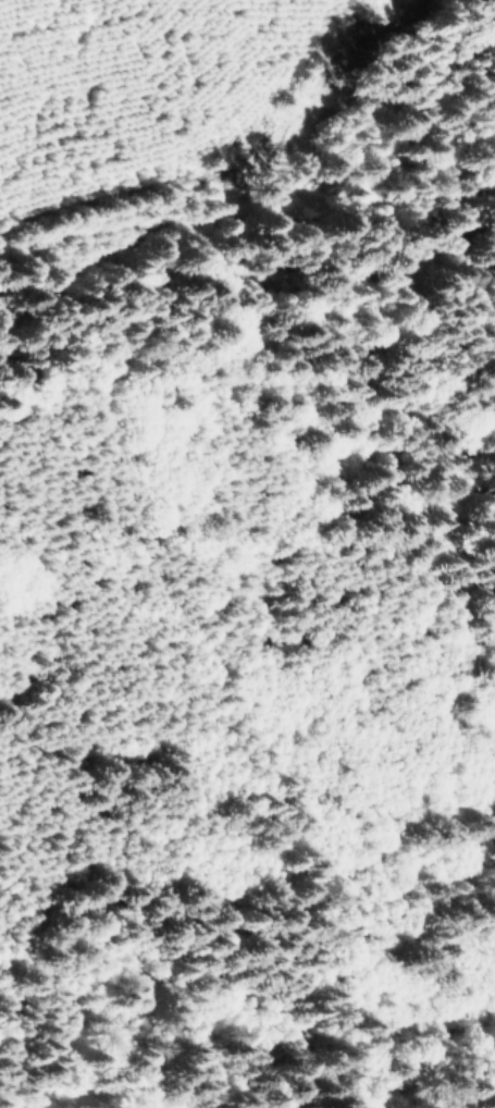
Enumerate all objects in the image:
road: (243, 218)

